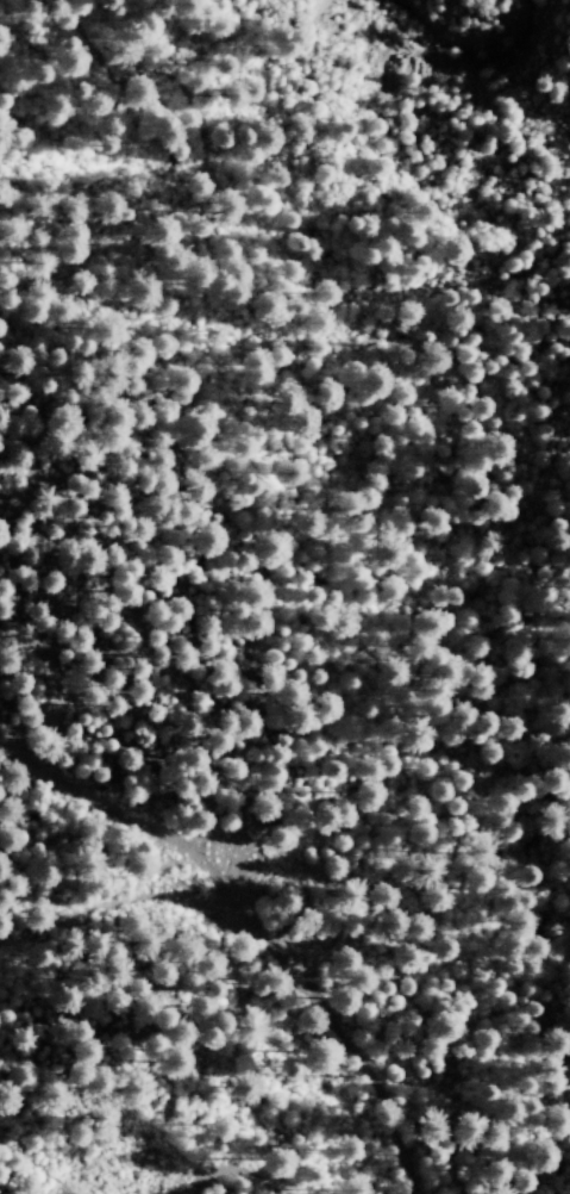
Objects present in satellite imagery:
road: (136, 895)
road: (262, 915)
road: (242, 1173)

